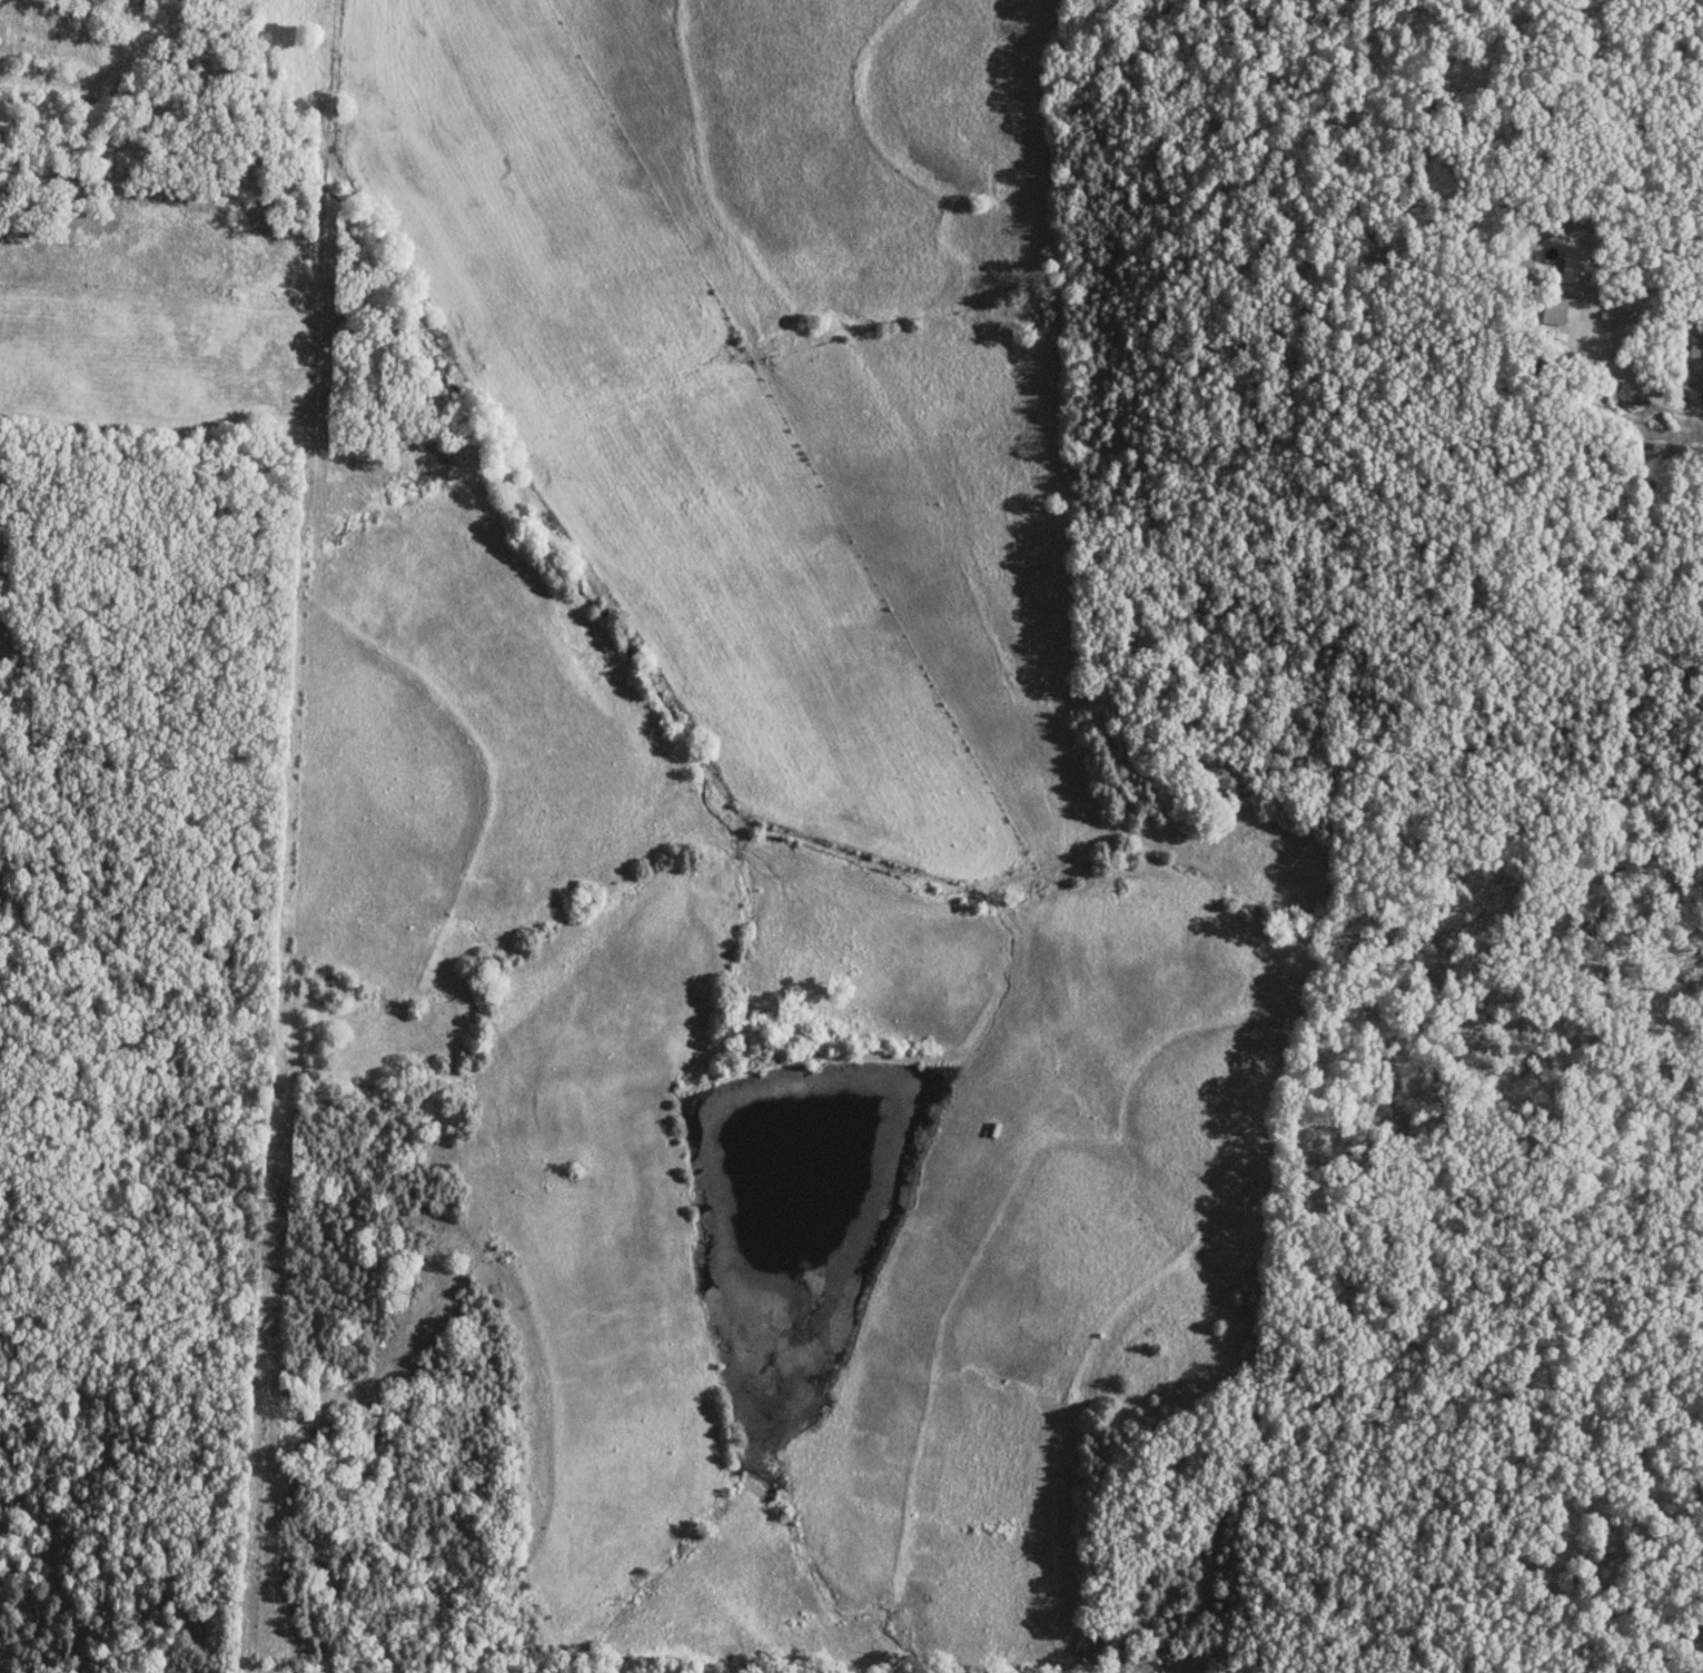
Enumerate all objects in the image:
building: (1573, 266)
building: (1548, 309)
building: (1690, 347)

